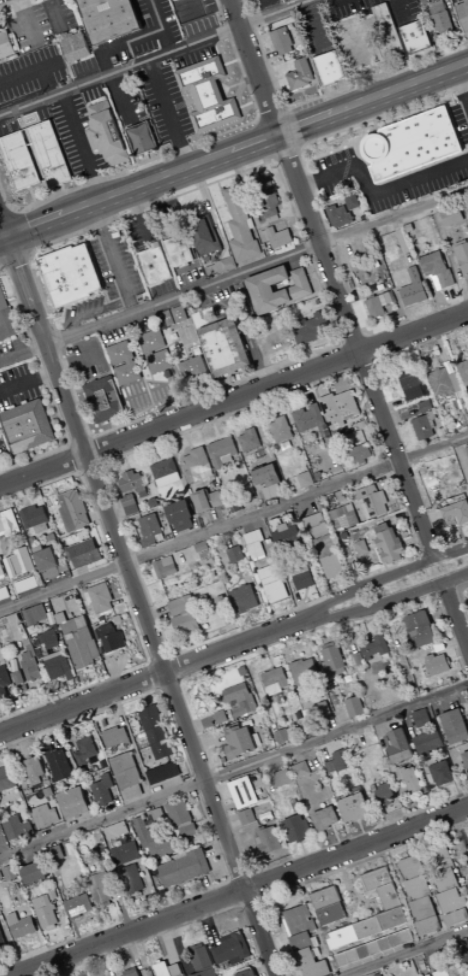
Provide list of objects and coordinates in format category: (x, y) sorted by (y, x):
building: (172, 0)
building: (425, 2)
road: (8, 3)
building: (438, 4)
building: (190, 7)
road: (268, 7)
building: (438, 9)
road: (399, 11)
road: (275, 13)
building: (463, 14)
road: (54, 15)
building: (110, 19)
road: (29, 23)
building: (443, 23)
road: (160, 26)
road: (312, 26)
building: (389, 34)
building: (416, 37)
road: (467, 37)
building: (282, 40)
building: (6, 45)
road: (119, 45)
building: (74, 47)
road: (265, 57)
road: (254, 67)
building: (330, 68)
road: (384, 68)
road: (35, 70)
road: (275, 70)
road: (119, 71)
building: (300, 74)
road: (461, 86)
road: (304, 89)
road: (329, 89)
building: (208, 95)
road: (303, 95)
road: (322, 96)
road: (123, 98)
road: (449, 98)
road: (288, 109)
road: (168, 114)
road: (273, 115)
road: (258, 119)
road: (384, 123)
building: (23, 126)
road: (292, 130)
road: (339, 133)
building: (107, 134)
building: (142, 138)
road: (268, 139)
road: (127, 140)
building: (412, 146)
road: (81, 147)
road: (181, 148)
road: (236, 150)
road: (300, 150)
road: (338, 150)
road: (287, 154)
building: (51, 155)
road: (2, 156)
building: (19, 161)
road: (275, 161)
road: (108, 165)
road: (258, 172)
road: (5, 174)
road: (236, 180)
road: (75, 184)
building: (267, 195)
road: (375, 195)
road: (32, 196)
building: (352, 201)
road: (6, 210)
road: (212, 210)
road: (230, 213)
road: (142, 215)
road: (288, 215)
building: (452, 215)
building: (340, 216)
road: (420, 221)
building: (241, 227)
road: (2, 229)
road: (28, 229)
road: (301, 229)
building: (205, 235)
building: (279, 235)
road: (2, 237)
traffic signals: (5, 237)
road: (402, 241)
building: (182, 251)
building: (462, 255)
road: (114, 258)
road: (342, 258)
road: (15, 260)
road: (31, 264)
building: (156, 265)
road: (308, 265)
building: (222, 266)
road: (98, 268)
road: (37, 269)
road: (141, 269)
building: (437, 269)
building: (72, 275)
road: (233, 275)
road: (312, 276)
road: (461, 283)
building: (301, 284)
building: (373, 287)
building: (271, 290)
building: (414, 291)
road: (444, 294)
road: (449, 301)
road: (452, 302)
building: (375, 308)
road: (328, 311)
road: (93, 313)
building: (180, 314)
road: (61, 317)
building: (169, 318)
building: (7, 319)
building: (314, 330)
road: (331, 341)
road: (455, 341)
road: (249, 343)
road: (439, 345)
road: (356, 347)
building: (226, 348)
building: (150, 350)
road: (335, 353)
road: (310, 358)
road: (396, 359)
road: (78, 361)
building: (117, 363)
building: (193, 369)
building: (463, 372)
building: (407, 376)
road: (27, 382)
building: (440, 382)
building: (454, 382)
road: (320, 383)
road: (182, 384)
building: (412, 387)
road: (49, 389)
road: (307, 389)
road: (79, 391)
building: (425, 391)
building: (457, 395)
building: (105, 400)
road: (234, 400)
road: (152, 402)
road: (390, 405)
building: (425, 407)
building: (339, 408)
road: (400, 415)
road: (465, 416)
road: (224, 418)
building: (431, 418)
building: (309, 419)
building: (365, 424)
road: (112, 425)
building: (28, 427)
building: (422, 428)
building: (281, 430)
road: (90, 436)
road: (380, 437)
building: (250, 440)
road: (79, 441)
road: (376, 444)
road: (69, 445)
building: (467, 445)
building: (286, 446)
building: (370, 448)
building: (467, 448)
road: (185, 449)
building: (222, 451)
building: (259, 453)
building: (249, 454)
building: (360, 454)
road: (462, 454)
road: (125, 457)
road: (72, 459)
building: (227, 459)
building: (197, 465)
road: (335, 467)
building: (165, 473)
building: (206, 475)
building: (268, 476)
building: (318, 476)
building: (306, 480)
road: (390, 482)
building: (296, 483)
building: (133, 484)
building: (366, 491)
building: (272, 492)
building: (446, 495)
building: (209, 496)
building: (217, 500)
road: (91, 501)
building: (203, 502)
road: (309, 504)
building: (375, 504)
building: (130, 505)
building: (236, 505)
road: (3, 506)
road: (112, 506)
building: (456, 509)
building: (73, 511)
building: (365, 511)
building: (33, 516)
building: (180, 516)
road: (393, 516)
road: (429, 516)
building: (351, 519)
building: (313, 520)
road: (210, 522)
building: (9, 523)
road: (233, 523)
building: (343, 523)
building: (151, 530)
road: (414, 530)
building: (319, 531)
building: (285, 532)
road: (229, 536)
road: (462, 536)
building: (50, 537)
building: (253, 537)
road: (18, 538)
road: (408, 539)
building: (31, 540)
road: (127, 541)
building: (389, 544)
road: (101, 545)
building: (325, 545)
road: (19, 546)
building: (201, 546)
building: (360, 548)
road: (8, 549)
building: (65, 550)
building: (255, 550)
road: (183, 552)
building: (84, 553)
building: (235, 554)
building: (203, 555)
building: (259, 558)
road: (382, 561)
building: (19, 563)
building: (48, 563)
building: (333, 566)
building: (165, 567)
road: (71, 568)
building: (299, 569)
building: (1, 570)
road: (385, 571)
building: (270, 574)
road: (385, 577)
road: (9, 578)
road: (159, 580)
building: (303, 580)
road: (18, 581)
building: (26, 585)
building: (276, 591)
building: (4, 593)
building: (88, 598)
building: (101, 598)
building: (244, 599)
road: (123, 600)
road: (297, 600)
road: (389, 601)
road: (421, 601)
road: (140, 606)
road: (302, 606)
building: (223, 607)
building: (467, 608)
road: (441, 612)
road: (157, 614)
building: (184, 614)
building: (34, 615)
road: (242, 616)
road: (455, 617)
road: (11, 618)
building: (419, 621)
building: (74, 625)
road: (366, 625)
building: (107, 629)
road: (162, 630)
road: (397, 631)
road: (232, 632)
road: (173, 634)
building: (424, 637)
building: (48, 639)
building: (372, 641)
road: (454, 642)
building: (111, 643)
road: (362, 643)
road: (307, 644)
building: (329, 645)
building: (377, 647)
building: (440, 647)
building: (80, 648)
road: (267, 652)
building: (333, 658)
building: (359, 659)
building: (438, 664)
building: (57, 666)
building: (30, 667)
building: (244, 671)
building: (305, 671)
building: (427, 671)
road: (112, 674)
road: (408, 674)
road: (153, 676)
building: (17, 678)
building: (275, 678)
road: (99, 679)
building: (4, 682)
building: (274, 689)
building: (292, 691)
building: (393, 693)
road: (55, 695)
building: (280, 697)
building: (240, 699)
building: (224, 700)
road: (37, 704)
road: (15, 707)
building: (353, 707)
road: (105, 708)
road: (114, 709)
road: (346, 709)
road: (168, 710)
building: (322, 710)
building: (463, 712)
road: (308, 714)
building: (221, 717)
building: (150, 718)
building: (421, 718)
road: (408, 719)
building: (441, 720)
road: (201, 724)
building: (456, 726)
road: (67, 727)
road: (175, 728)
road: (49, 729)
road: (55, 731)
road: (382, 732)
building: (156, 735)
building: (116, 737)
building: (283, 737)
road: (209, 740)
building: (240, 742)
road: (180, 744)
building: (427, 744)
road: (20, 745)
building: (401, 747)
building: (85, 750)
building: (162, 750)
road: (249, 756)
road: (205, 757)
building: (466, 758)
building: (343, 760)
building: (57, 763)
building: (123, 763)
building: (34, 770)
road: (233, 770)
building: (301, 770)
building: (430, 771)
building: (163, 773)
building: (443, 774)
building: (281, 778)
building: (6, 779)
building: (24, 779)
building: (128, 779)
building: (411, 779)
road: (447, 785)
building: (102, 792)
building: (243, 793)
building: (415, 793)
building: (385, 794)
road: (465, 794)
road: (228, 800)
road: (116, 801)
road: (222, 801)
road: (445, 801)
building: (292, 802)
building: (74, 803)
road: (163, 807)
road: (226, 808)
building: (297, 809)
building: (355, 809)
road: (380, 811)
building: (179, 812)
road: (420, 812)
building: (44, 816)
building: (158, 817)
building: (247, 817)
building: (326, 819)
road: (207, 823)
road: (336, 824)
road: (231, 825)
building: (17, 828)
building: (297, 829)
building: (116, 830)
building: (143, 831)
building: (188, 831)
road: (461, 831)
road: (363, 833)
road: (254, 835)
road: (338, 839)
building: (150, 840)
building: (268, 840)
road: (120, 841)
road: (386, 846)
road: (215, 847)
building: (163, 848)
road: (244, 849)
road: (302, 849)
building: (124, 853)
building: (56, 854)
road: (0, 855)
building: (103, 855)
building: (441, 858)
road: (396, 863)
building: (184, 868)
building: (412, 868)
road: (341, 869)
building: (10, 872)
building: (34, 874)
building: (2, 878)
building: (131, 879)
building: (377, 880)
building: (444, 881)
road: (224, 883)
building: (14, 886)
road: (207, 888)
building: (418, 888)
building: (100, 889)
road: (183, 890)
road: (240, 890)
road: (343, 891)
building: (52, 895)
building: (325, 897)
building: (390, 897)
road: (367, 900)
building: (452, 901)
road: (188, 903)
road: (408, 904)
building: (78, 907)
road: (122, 909)
building: (423, 909)
building: (45, 911)
road: (412, 913)
building: (331, 914)
building: (11, 918)
building: (457, 918)
building: (392, 919)
building: (300, 921)
road: (343, 921)
road: (208, 926)
building: (429, 927)
building: (25, 928)
road: (64, 929)
building: (369, 929)
road: (78, 935)
road: (273, 936)
building: (343, 938)
building: (2, 939)
road: (171, 940)
building: (467, 941)
building: (315, 942)
building: (302, 943)
building: (374, 948)
building: (231, 949)
road: (28, 952)
building: (316, 953)
road: (410, 954)
building: (463, 956)
road: (106, 959)
building: (200, 961)
building: (310, 964)
road: (59, 968)
building: (162, 969)
road: (266, 969)
building: (131, 972)
road: (28, 973)
building: (248, 973)
building: (442, 973)
building: (379, 975)

